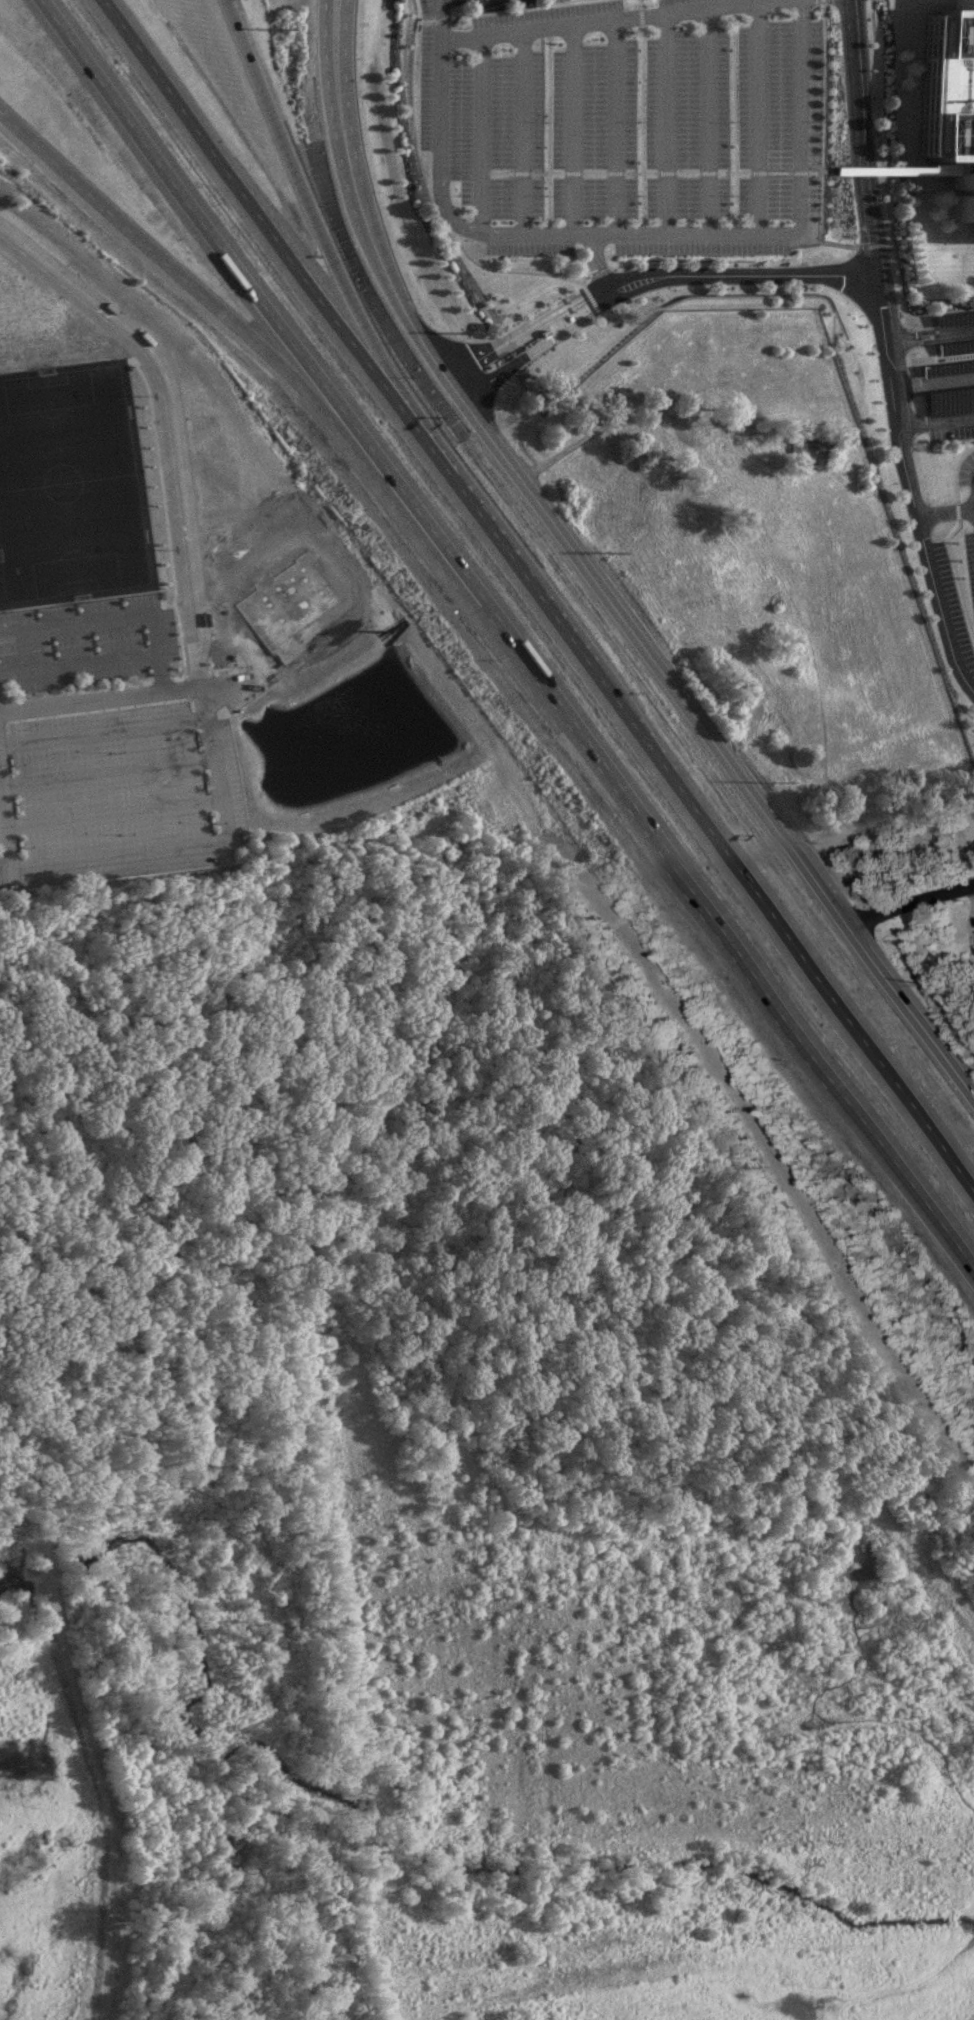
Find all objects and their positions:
road: (438, 0)
road: (439, 17)
road: (452, 36)
road: (343, 75)
road: (324, 76)
building: (953, 89)
road: (800, 115)
road: (641, 116)
road: (757, 116)
road: (821, 119)
road: (707, 120)
parking lot: (621, 122)
road: (664, 122)
road: (615, 126)
road: (572, 128)
road: (521, 130)
road: (482, 131)
road: (894, 170)
road: (652, 171)
road: (890, 189)
road: (658, 233)
road: (880, 245)
road: (289, 256)
road: (336, 262)
road: (383, 264)
road: (809, 273)
road: (582, 296)
road: (657, 307)
road: (589, 312)
building: (952, 317)
road: (274, 319)
road: (961, 331)
parking lot: (948, 333)
road: (948, 333)
road: (253, 339)
building: (954, 347)
road: (500, 350)
road: (890, 351)
building: (946, 367)
road: (446, 375)
road: (933, 382)
road: (456, 388)
parking lot: (945, 398)
building: (948, 400)
road: (170, 420)
road: (935, 421)
road: (600, 423)
building: (753, 433)
building: (805, 443)
park: (71, 485)
road: (945, 510)
parking lot: (965, 518)
road: (556, 619)
road: (487, 622)
road: (155, 638)
road: (257, 661)
road: (160, 674)
road: (101, 697)
road: (721, 742)
road: (144, 849)
road: (5, 867)
road: (914, 900)
road: (741, 955)
road: (803, 957)

